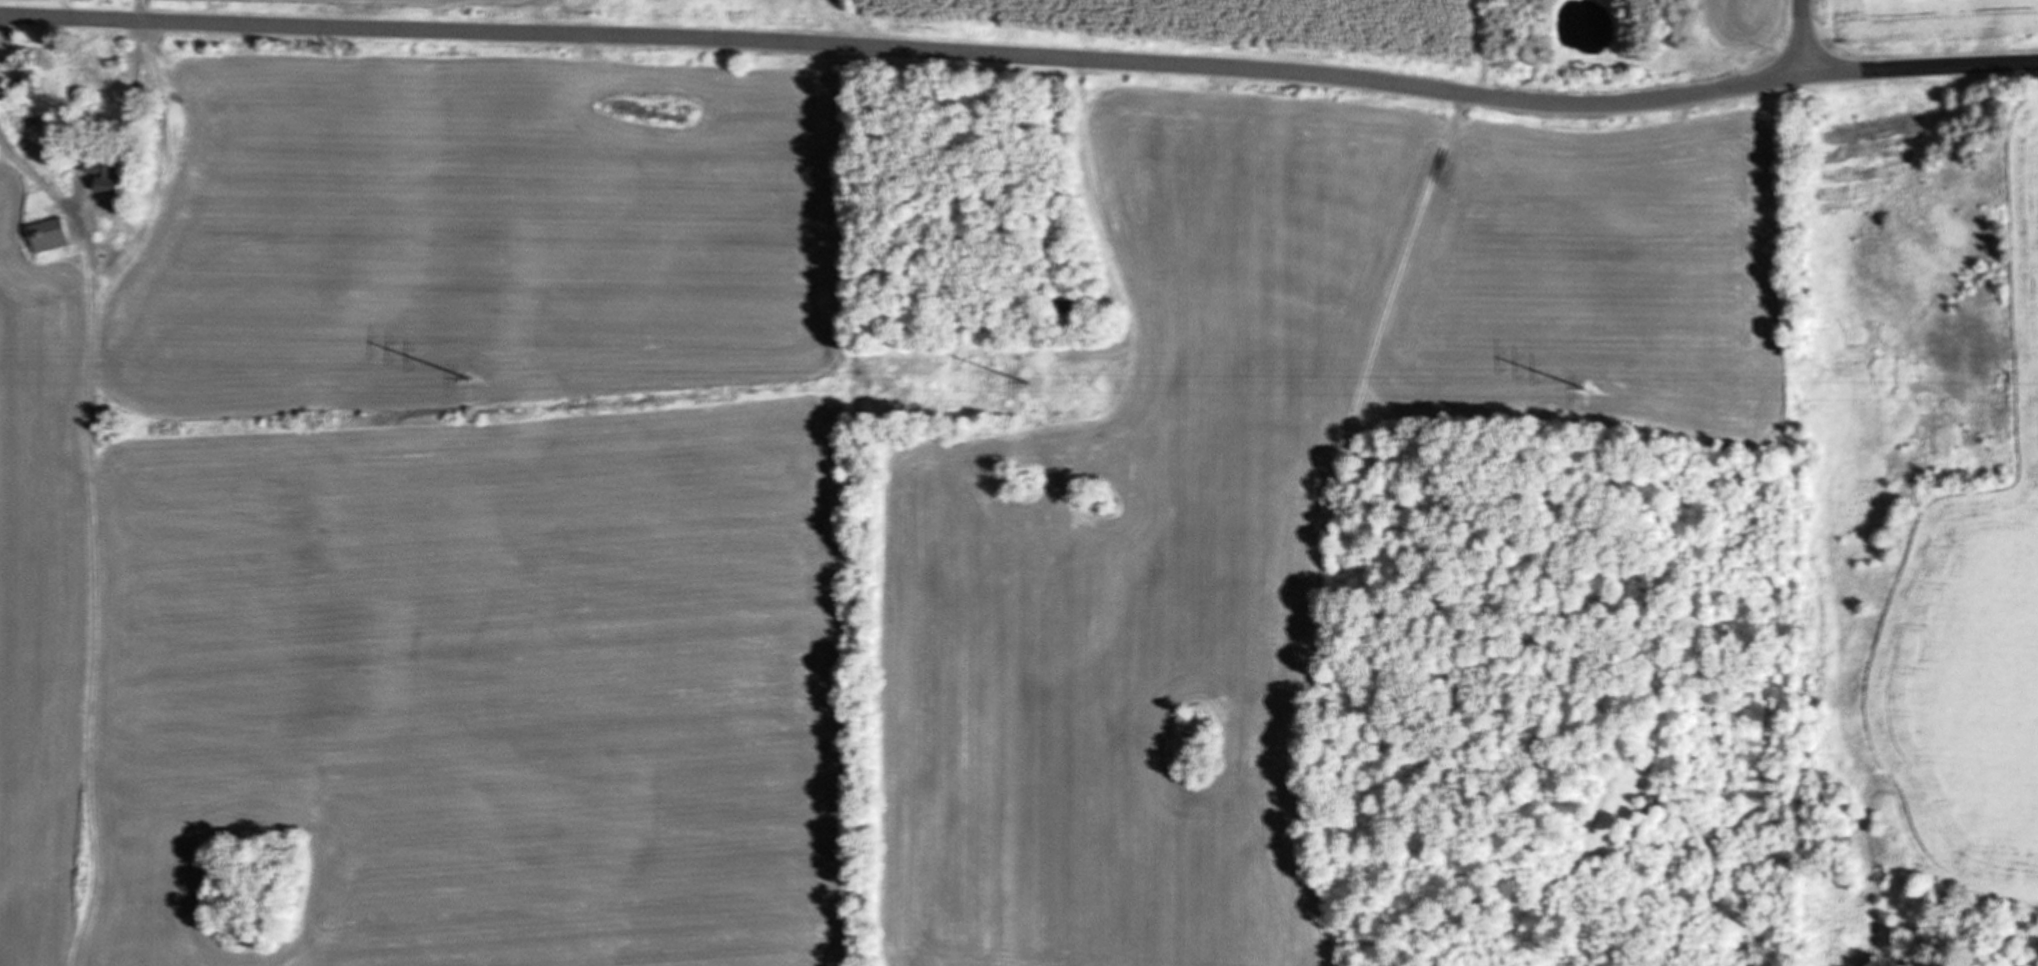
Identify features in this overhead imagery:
road: (1805, 36)
road: (1022, 54)
building: (100, 174)
power tower: (469, 376)
power tower: (1025, 381)
power tower: (1586, 386)

